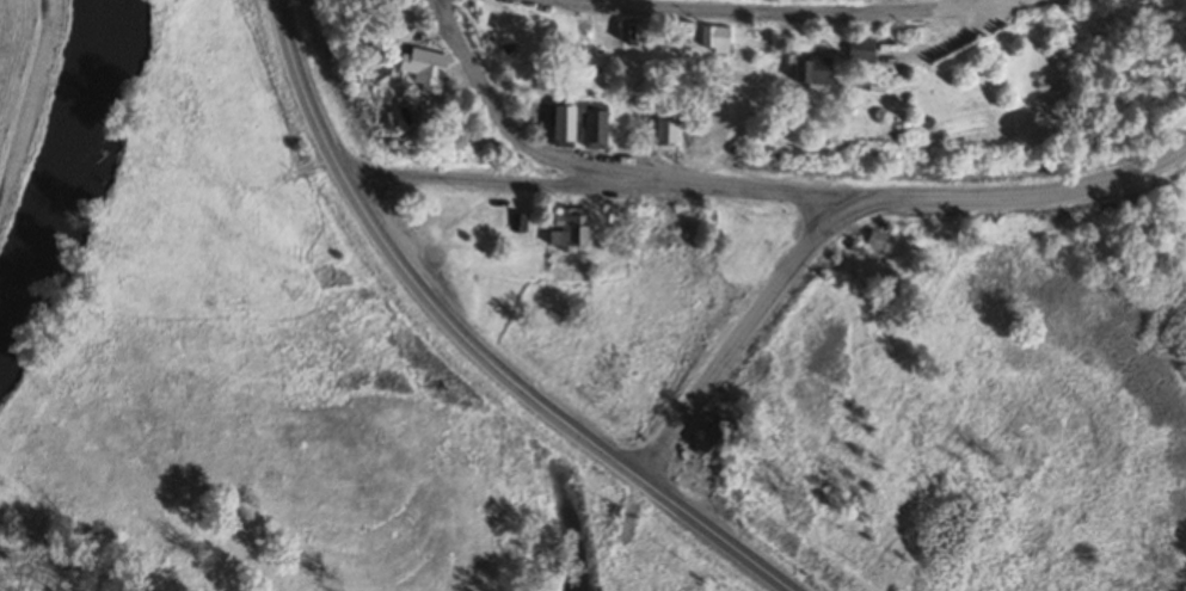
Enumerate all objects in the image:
building: (369, 1)
road: (787, 14)
building: (628, 35)
building: (713, 42)
building: (859, 51)
building: (375, 69)
building: (419, 70)
building: (807, 74)
road: (492, 109)
building: (559, 128)
building: (591, 128)
building: (663, 131)
river: (69, 178)
road: (592, 186)
road: (849, 205)
building: (517, 223)
building: (570, 230)
building: (875, 241)
road: (468, 346)
building: (712, 439)

